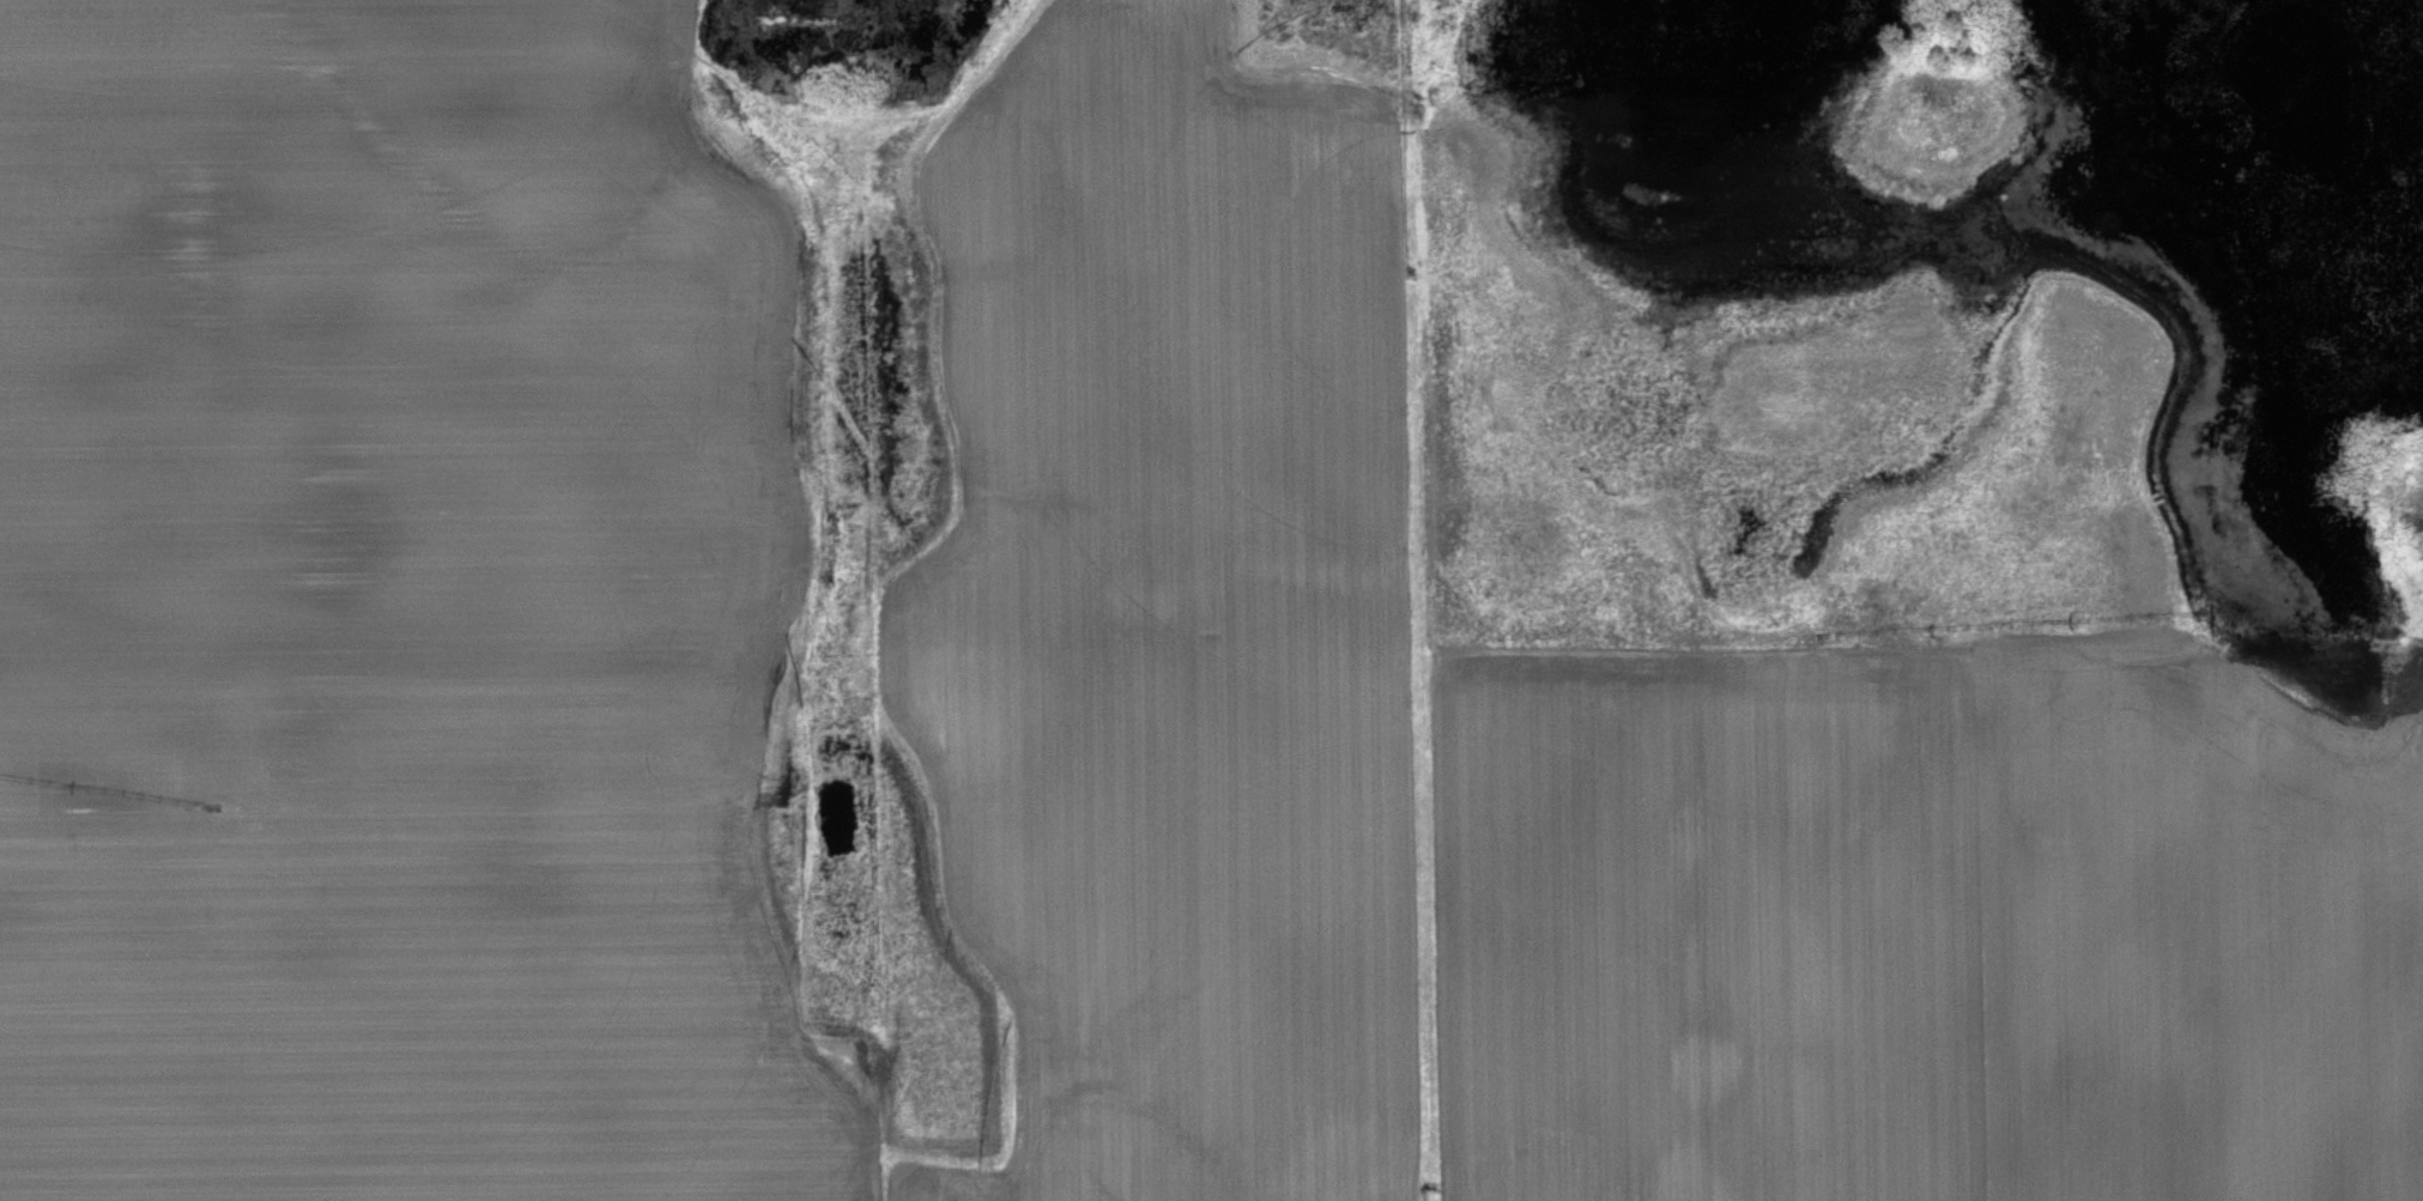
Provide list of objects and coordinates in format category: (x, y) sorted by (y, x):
crop: (370, 408)
crop: (1173, 613)
crop: (2201, 938)
crop: (1714, 939)
crop: (389, 1011)
crop: (917, 1188)

